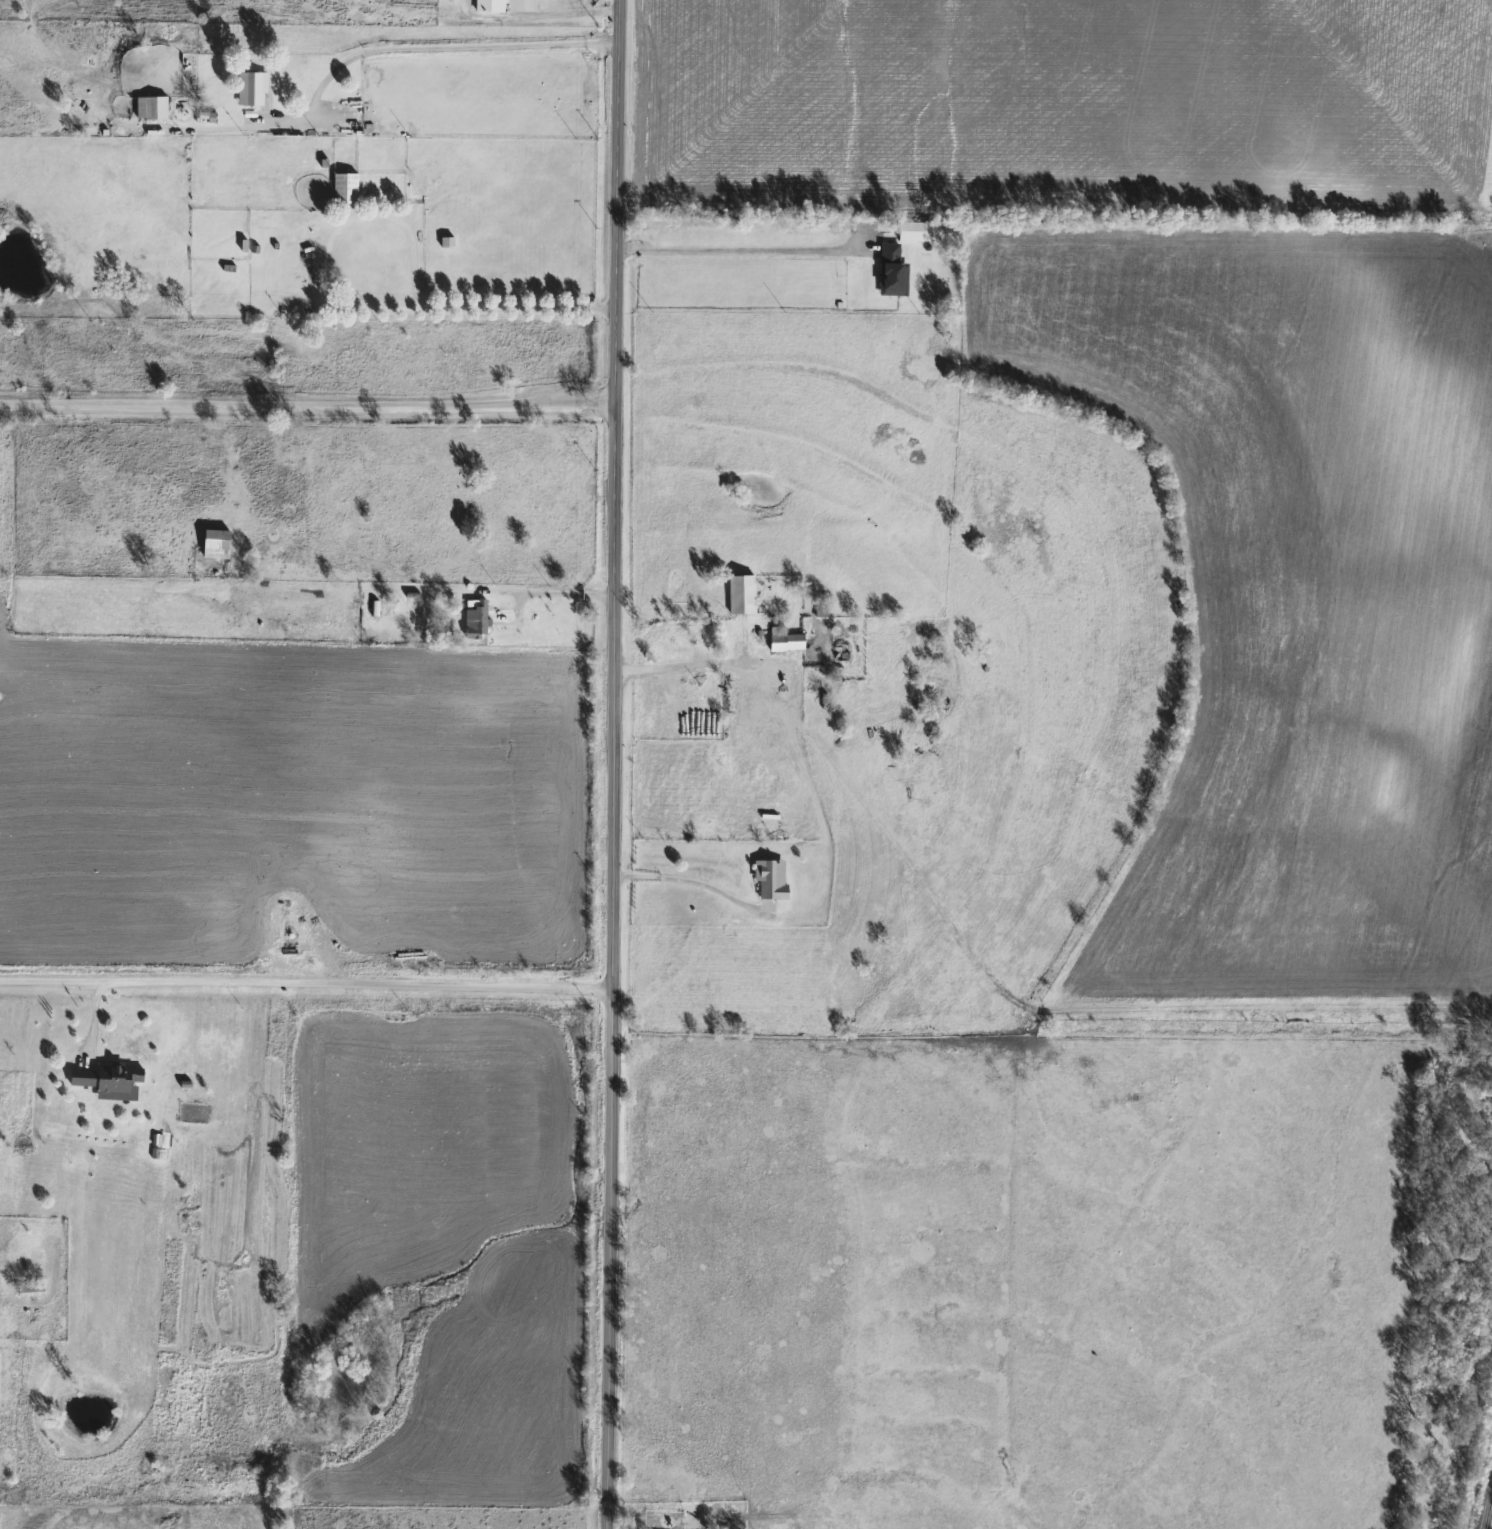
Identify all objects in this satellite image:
building: (488, 6)
road: (566, 13)
road: (374, 51)
building: (250, 89)
crop: (1072, 102)
building: (150, 108)
building: (344, 188)
road: (732, 251)
building: (891, 271)
road: (348, 308)
road: (306, 412)
building: (214, 544)
road: (556, 593)
building: (740, 596)
building: (475, 619)
building: (784, 640)
road: (675, 667)
road: (610, 764)
building: (768, 879)
road: (688, 882)
road: (304, 990)
building: (80, 1078)
building: (117, 1082)
building: (29, 1290)
railway: (1488, 1515)

